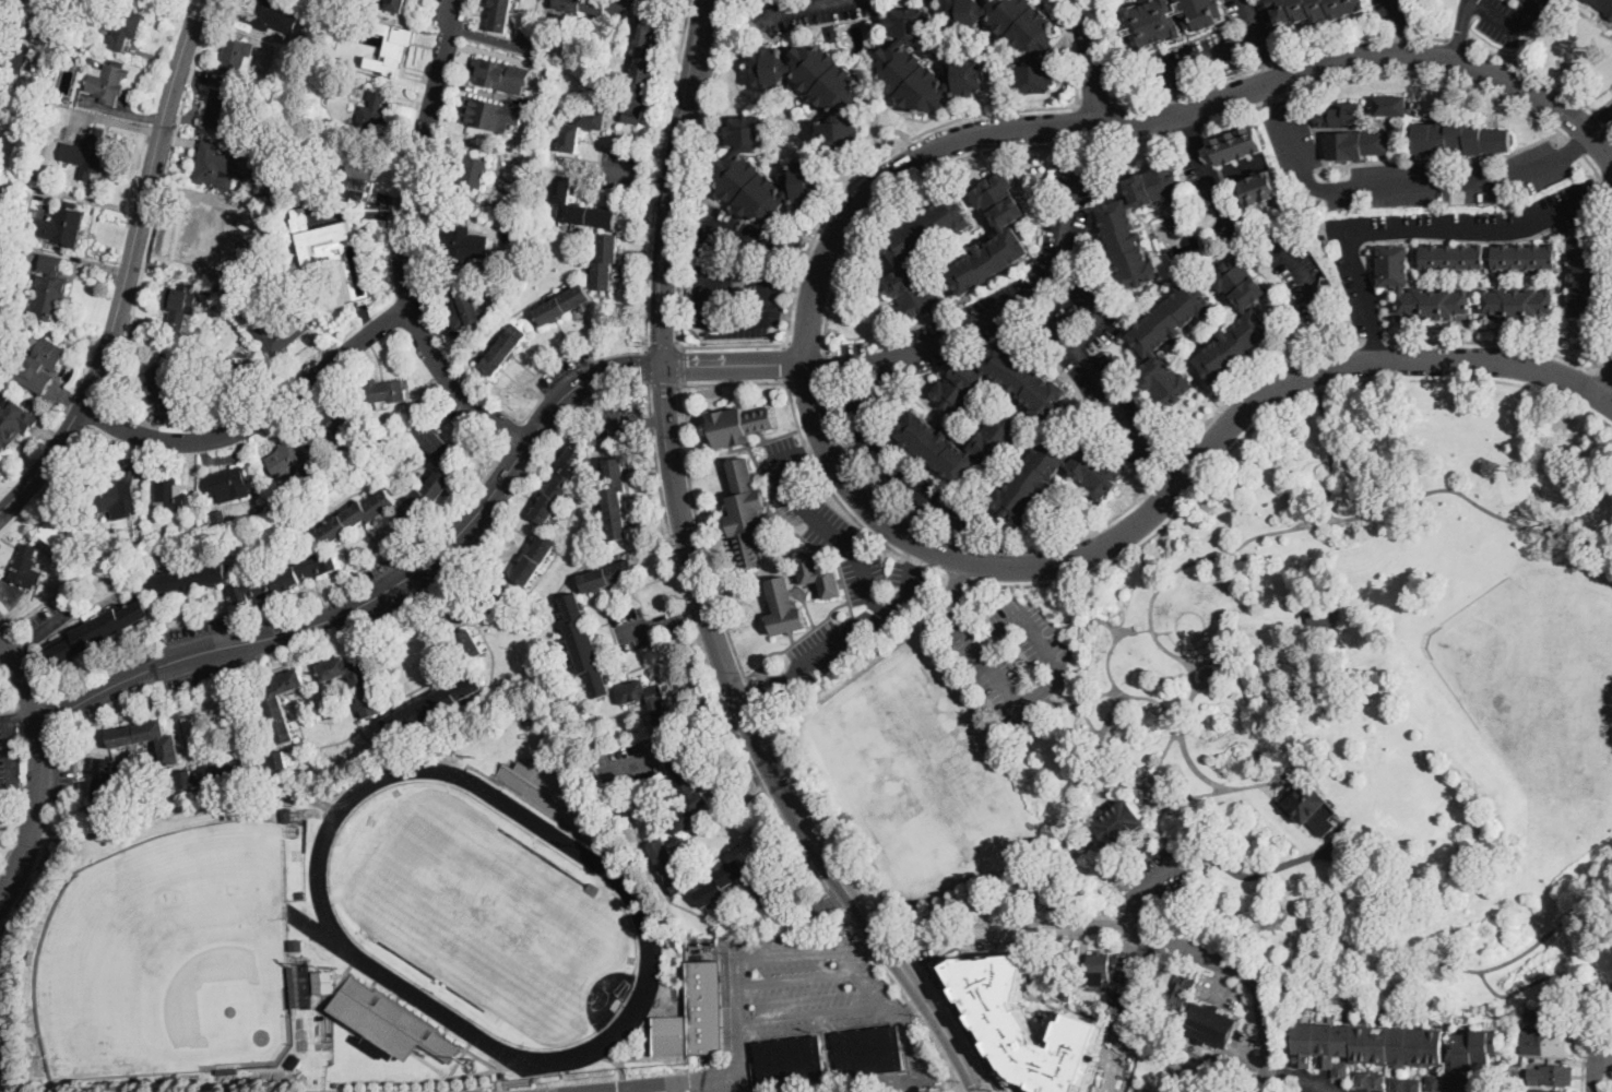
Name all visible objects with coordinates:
building: (396, 4)
road: (790, 4)
building: (597, 5)
building: (1603, 5)
building: (36, 7)
building: (1317, 9)
parking lot: (806, 12)
building: (269, 14)
building: (500, 14)
parking lot: (1255, 16)
parking lot: (1512, 16)
building: (1172, 20)
road: (1510, 21)
building: (55, 24)
building: (123, 25)
road: (1398, 27)
building: (340, 29)
road: (1462, 29)
building: (833, 34)
building: (43, 35)
building: (1015, 36)
road: (493, 38)
road: (1260, 39)
road: (1459, 41)
building: (391, 47)
road: (1111, 50)
road: (1074, 51)
building: (237, 54)
road: (1209, 56)
road: (1279, 56)
building: (16, 57)
parking lot: (1195, 58)
road: (1090, 59)
building: (924, 66)
building: (642, 69)
road: (1537, 70)
road: (1389, 72)
building: (500, 73)
building: (107, 81)
road: (675, 85)
building: (817, 90)
road: (1275, 96)
road: (1097, 103)
road: (1603, 104)
building: (1391, 105)
building: (7, 109)
building: (220, 111)
building: (491, 112)
building: (374, 114)
road: (1604, 119)
road: (1600, 122)
road: (1192, 129)
building: (1352, 133)
road: (1150, 136)
building: (1460, 136)
building: (570, 140)
parking lot: (1293, 140)
road: (1098, 141)
building: (1238, 144)
road: (1576, 144)
road: (1577, 144)
road: (420, 150)
building: (87, 152)
building: (213, 163)
road: (1592, 165)
building: (358, 170)
road: (691, 170)
road: (626, 173)
building: (762, 173)
road: (1236, 173)
building: (472, 175)
road: (659, 178)
road: (661, 178)
parking lot: (1442, 178)
road: (1398, 185)
building: (1260, 186)
road: (1602, 188)
road: (1607, 188)
road: (901, 190)
road: (841, 197)
road: (159, 201)
building: (580, 206)
building: (54, 213)
building: (1118, 219)
building: (62, 224)
building: (1177, 226)
road: (1425, 226)
road: (1266, 232)
building: (315, 234)
building: (1008, 237)
building: (458, 244)
building: (904, 254)
building: (1525, 256)
building: (1454, 258)
road: (808, 260)
building: (606, 261)
road: (648, 265)
building: (1395, 265)
building: (272, 269)
road: (129, 270)
parking lot: (738, 275)
building: (1586, 277)
building: (227, 284)
building: (49, 288)
building: (206, 290)
road: (711, 292)
building: (1518, 302)
building: (564, 304)
road: (1010, 306)
building: (464, 307)
building: (179, 308)
road: (1098, 309)
building: (26, 316)
building: (1254, 317)
building: (282, 334)
road: (1470, 340)
road: (1375, 341)
building: (1150, 343)
road: (1352, 343)
road: (1373, 343)
road: (663, 345)
road: (806, 346)
road: (1329, 347)
building: (505, 349)
road: (1605, 354)
building: (3, 359)
road: (804, 360)
road: (1577, 360)
road: (785, 361)
road: (679, 364)
building: (39, 365)
road: (648, 365)
traffic signals: (665, 365)
road: (826, 365)
building: (0, 368)
building: (221, 371)
road: (1605, 373)
building: (235, 378)
road: (535, 379)
road: (807, 379)
road: (709, 381)
road: (454, 383)
building: (1001, 383)
road: (663, 384)
road: (615, 388)
road: (1608, 388)
building: (164, 389)
road: (1103, 390)
building: (386, 392)
road: (1238, 392)
road: (1608, 399)
road: (651, 400)
road: (94, 413)
road: (1266, 416)
road: (260, 418)
building: (10, 419)
road: (656, 422)
building: (335, 424)
road: (619, 425)
road: (654, 425)
building: (738, 425)
building: (435, 441)
building: (935, 446)
road: (811, 449)
road: (1330, 455)
building: (292, 460)
road: (878, 464)
parking lot: (901, 465)
road: (1171, 466)
building: (1099, 476)
road: (48, 482)
building: (227, 484)
building: (559, 485)
building: (115, 491)
building: (170, 494)
building: (427, 494)
building: (616, 499)
parking lot: (804, 500)
building: (746, 512)
road: (1312, 513)
building: (357, 515)
building: (218, 518)
road: (1334, 520)
road: (828, 527)
building: (64, 532)
building: (165, 533)
road: (962, 539)
building: (128, 542)
road: (441, 550)
road: (916, 557)
building: (535, 558)
building: (26, 568)
parking lot: (863, 572)
building: (608, 575)
building: (820, 575)
road: (955, 578)
building: (186, 579)
building: (284, 579)
road: (699, 580)
road: (953, 582)
road: (1080, 602)
building: (485, 604)
building: (785, 608)
road: (678, 616)
building: (1321, 617)
parking lot: (49, 618)
road: (1086, 622)
road: (44, 631)
building: (98, 631)
road: (633, 631)
road: (849, 633)
parking lot: (845, 634)
building: (470, 644)
building: (584, 646)
parking lot: (208, 652)
parking lot: (1012, 655)
park: (1541, 678)
building: (355, 682)
road: (1043, 686)
road: (14, 696)
road: (1084, 696)
road: (758, 698)
building: (281, 704)
building: (432, 705)
building: (653, 705)
road: (22, 714)
park: (1283, 716)
road: (738, 737)
building: (147, 738)
road: (706, 738)
road: (12, 752)
parking lot: (9, 753)
road: (39, 762)
road: (641, 762)
building: (233, 770)
park: (916, 773)
road: (1082, 774)
parking lot: (60, 775)
building: (104, 779)
road: (1273, 782)
road: (1135, 785)
road: (26, 790)
building: (548, 792)
building: (687, 795)
road: (1197, 796)
building: (1313, 809)
road: (811, 811)
building: (287, 814)
road: (180, 817)
building: (1119, 822)
road: (16, 823)
road: (1163, 823)
building: (671, 866)
parking lot: (1159, 874)
building: (721, 883)
road: (28, 888)
road: (1141, 890)
road: (837, 900)
road: (801, 907)
park: (484, 914)
road: (325, 915)
track: (325, 915)
road: (877, 933)
road: (1133, 934)
road: (1377, 942)
building: (296, 943)
road: (905, 946)
road: (866, 948)
road: (977, 948)
road: (772, 956)
park: (162, 960)
building: (1057, 962)
building: (1098, 970)
road: (801, 978)
building: (1164, 980)
building: (305, 981)
building: (323, 981)
road: (1533, 984)
building: (293, 986)
parking lot: (804, 986)
road: (867, 988)
building: (1182, 989)
building: (1067, 993)
building: (1126, 1002)
road: (913, 1008)
building: (1150, 1010)
road: (903, 1011)
road: (809, 1014)
building: (695, 1017)
building: (391, 1021)
building: (1022, 1024)
building: (1209, 1024)
building: (1556, 1024)
building: (323, 1025)
road: (965, 1028)
road: (1585, 1037)
road: (914, 1043)
road: (1598, 1044)
road: (1609, 1044)
building: (1556, 1045)
building: (1365, 1046)
building: (1474, 1049)
building: (869, 1052)
road: (941, 1053)
road: (1605, 1056)
building: (294, 1059)
building: (1519, 1059)
building: (790, 1060)
road: (1604, 1061)
road: (620, 1065)
building: (228, 1069)
road: (1112, 1069)
road: (731, 1072)
road: (1610, 1072)
road: (500, 1076)
building: (1556, 1076)
road: (1300, 1080)
building: (1370, 1080)
road: (1607, 1080)
building: (1435, 1083)
building: (1460, 1083)
building: (1406, 1084)
road: (648, 1088)
building: (1142, 1089)
road: (1000, 1090)
building: (1550, 1091)

